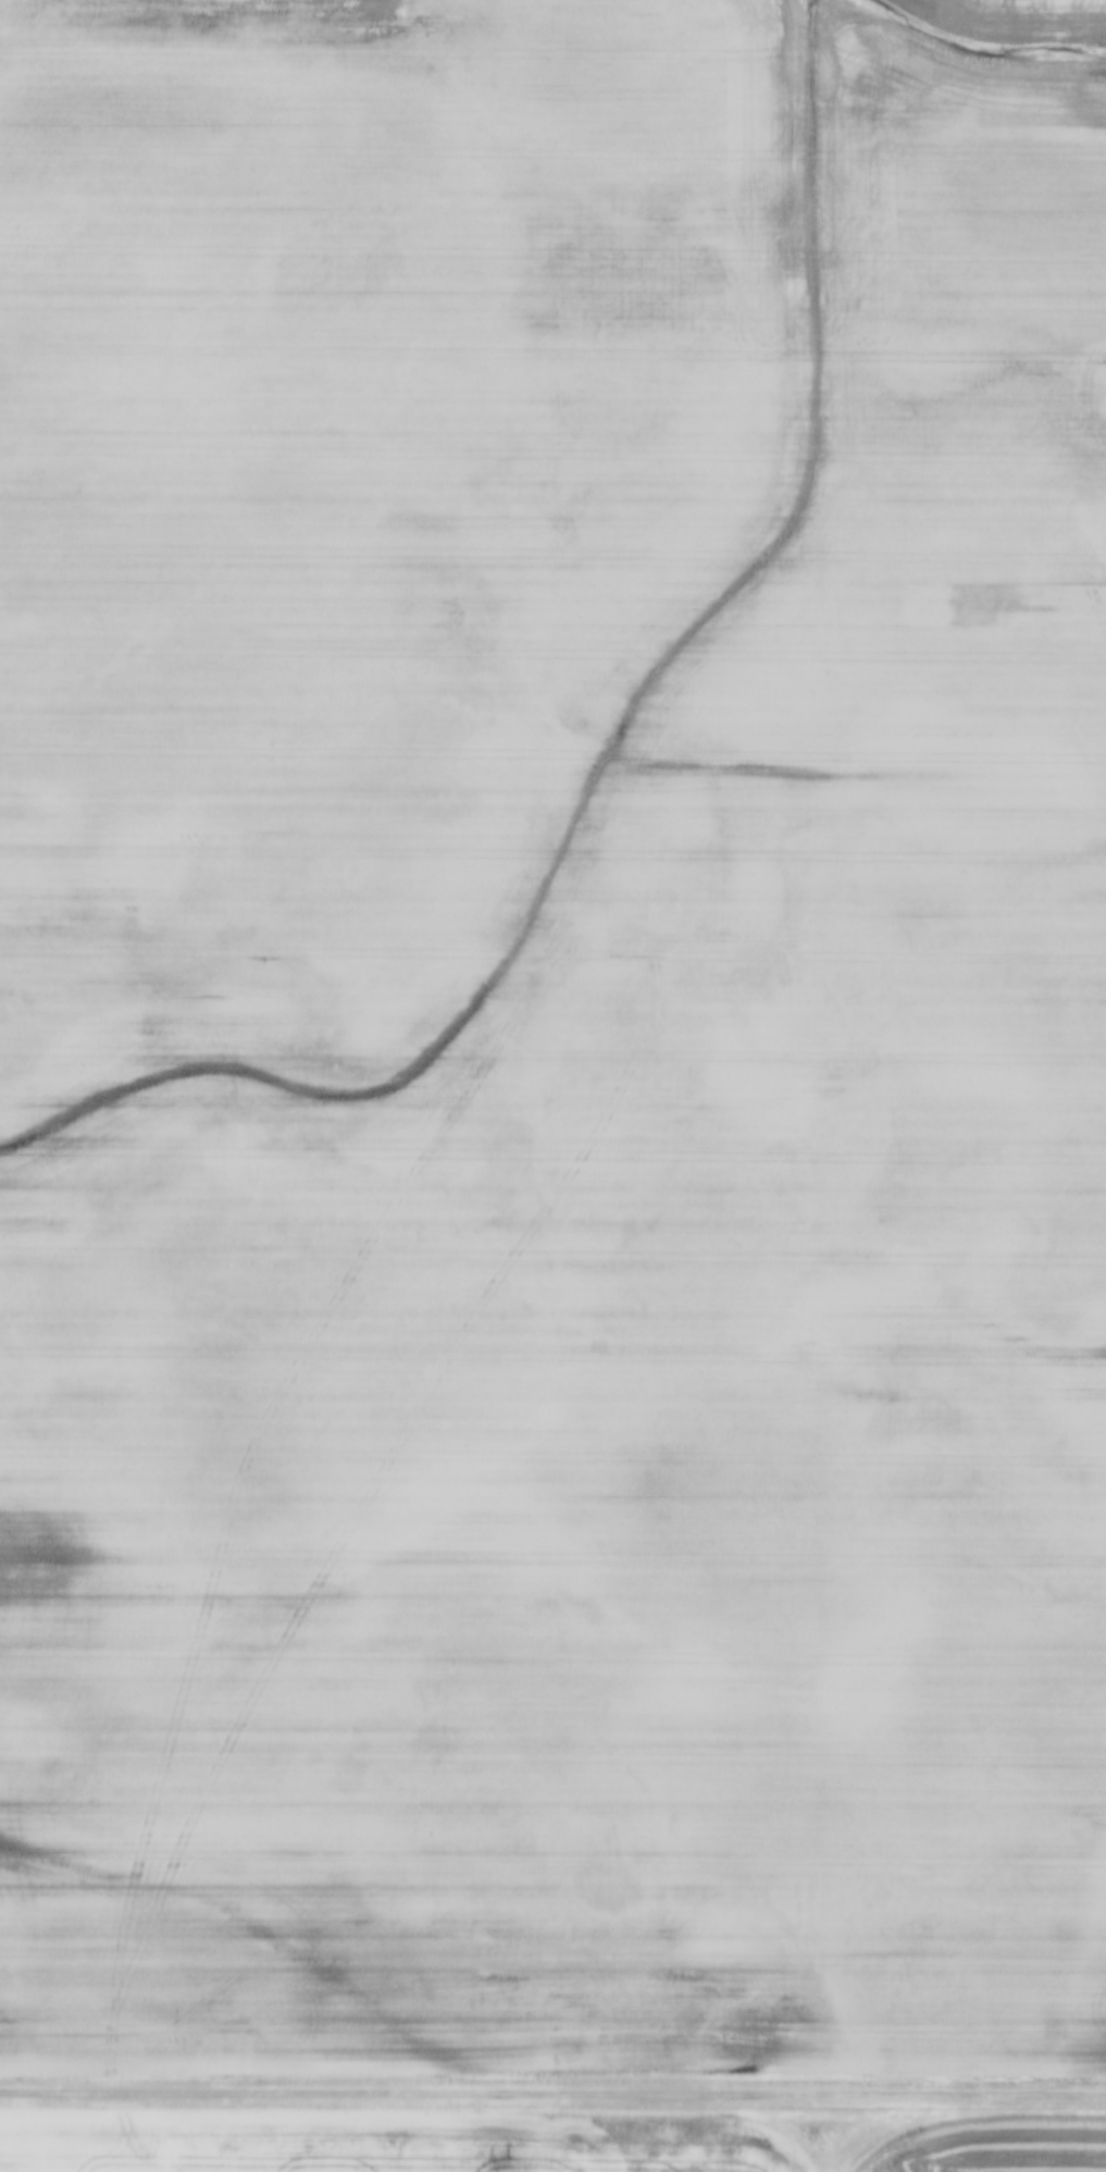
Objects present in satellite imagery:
road: (552, 2095)

